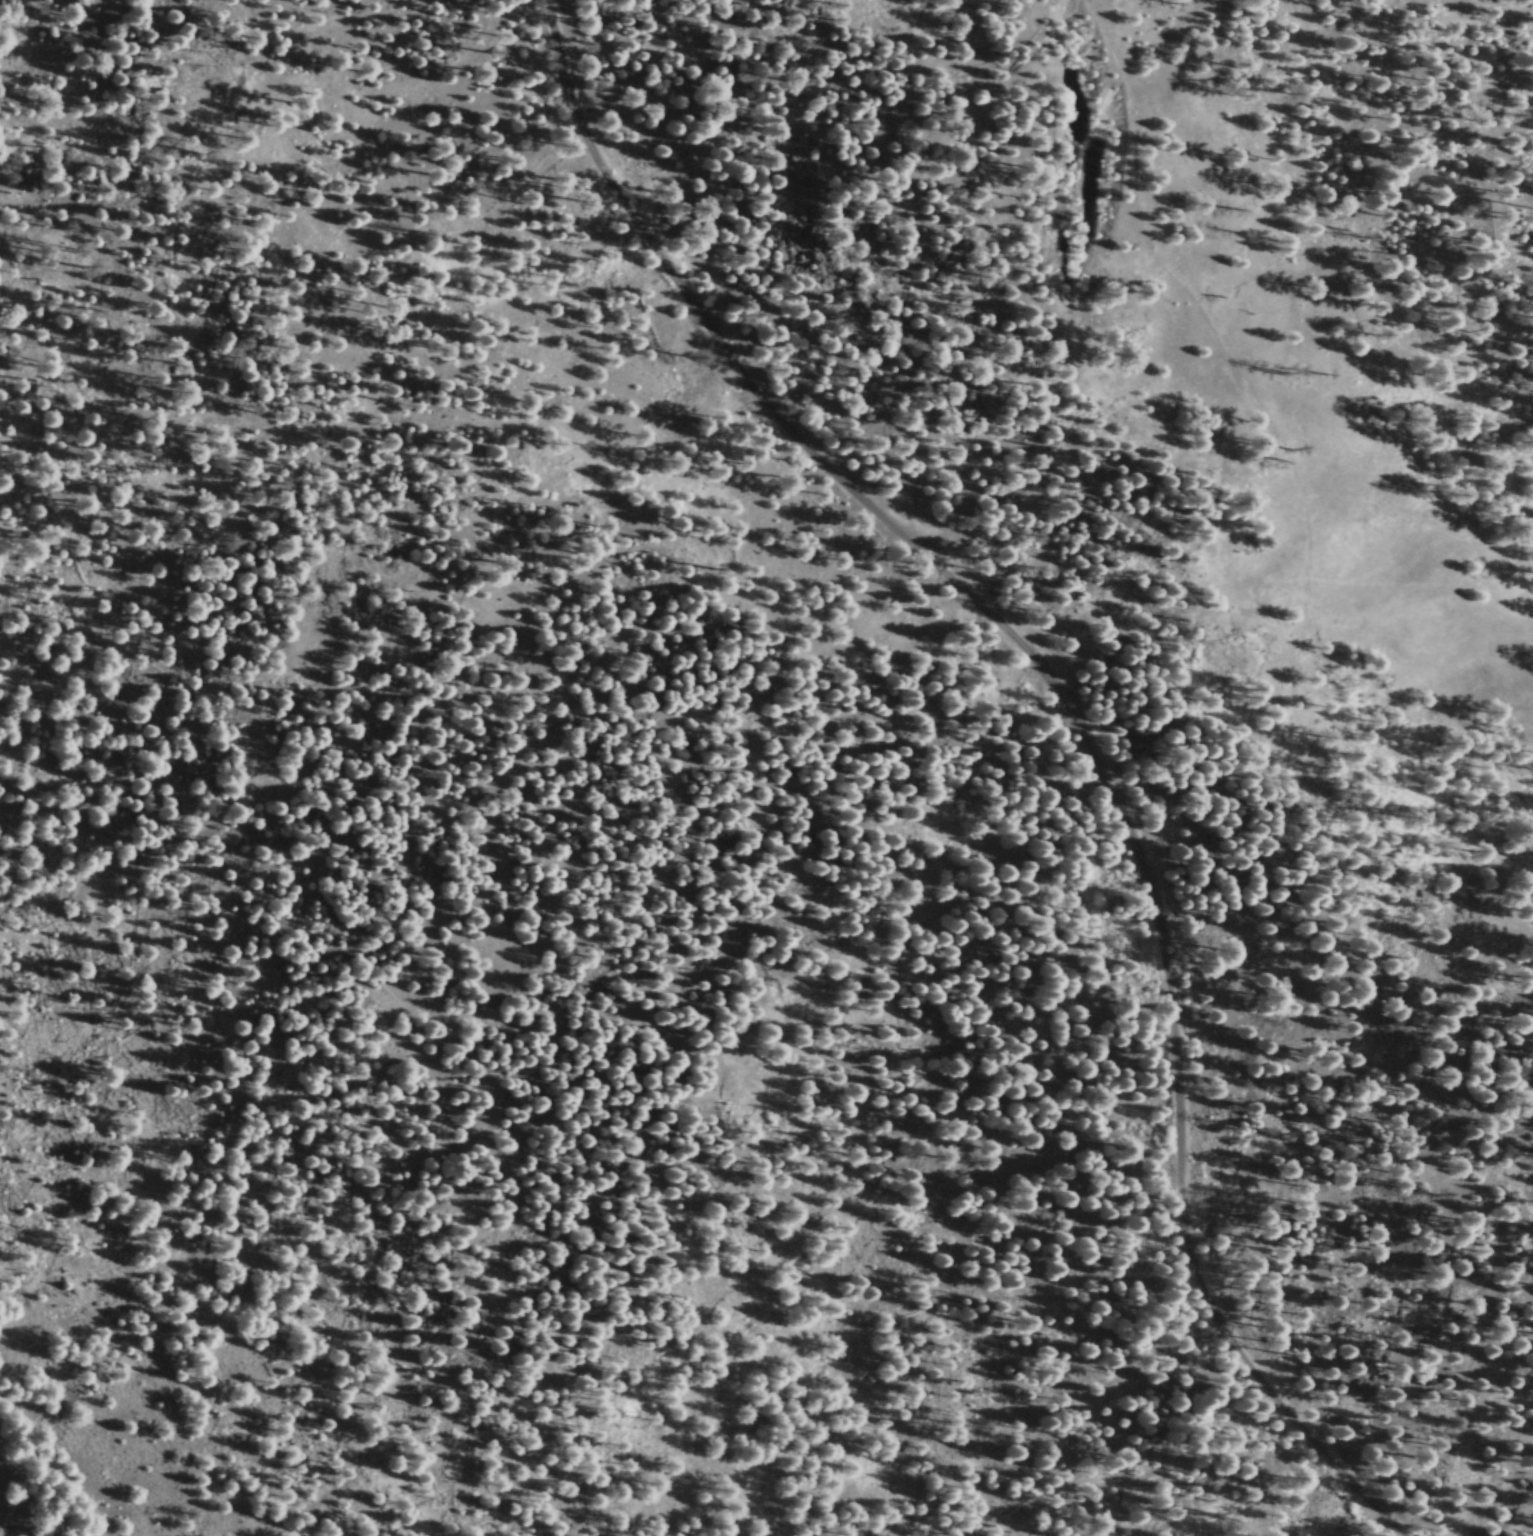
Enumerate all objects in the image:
road: (1067, 719)

